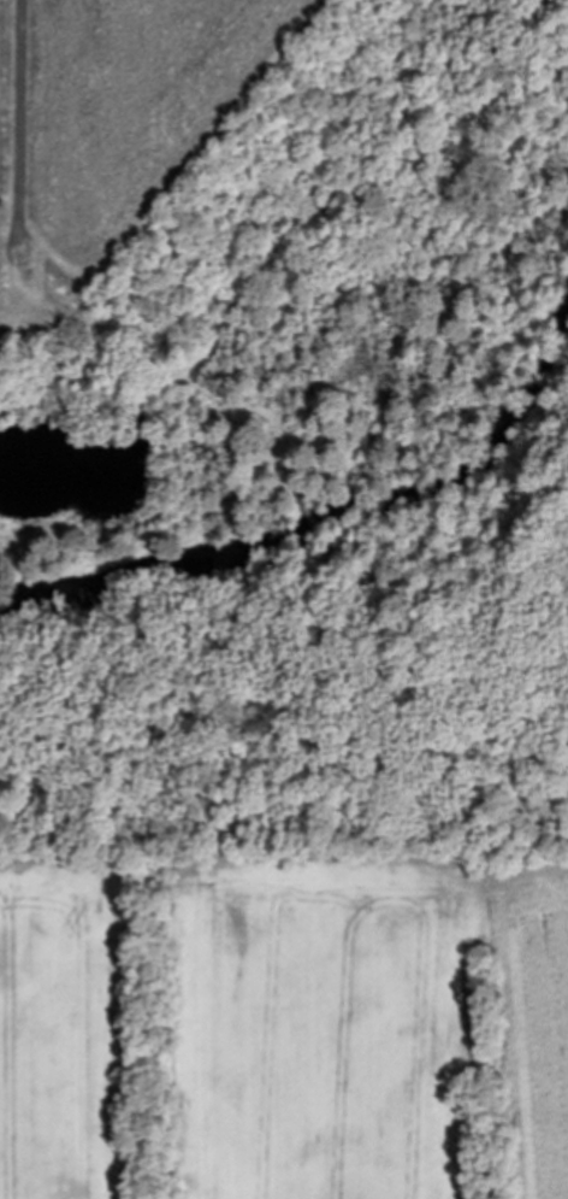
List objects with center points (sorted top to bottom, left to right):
river: (321, 524)

